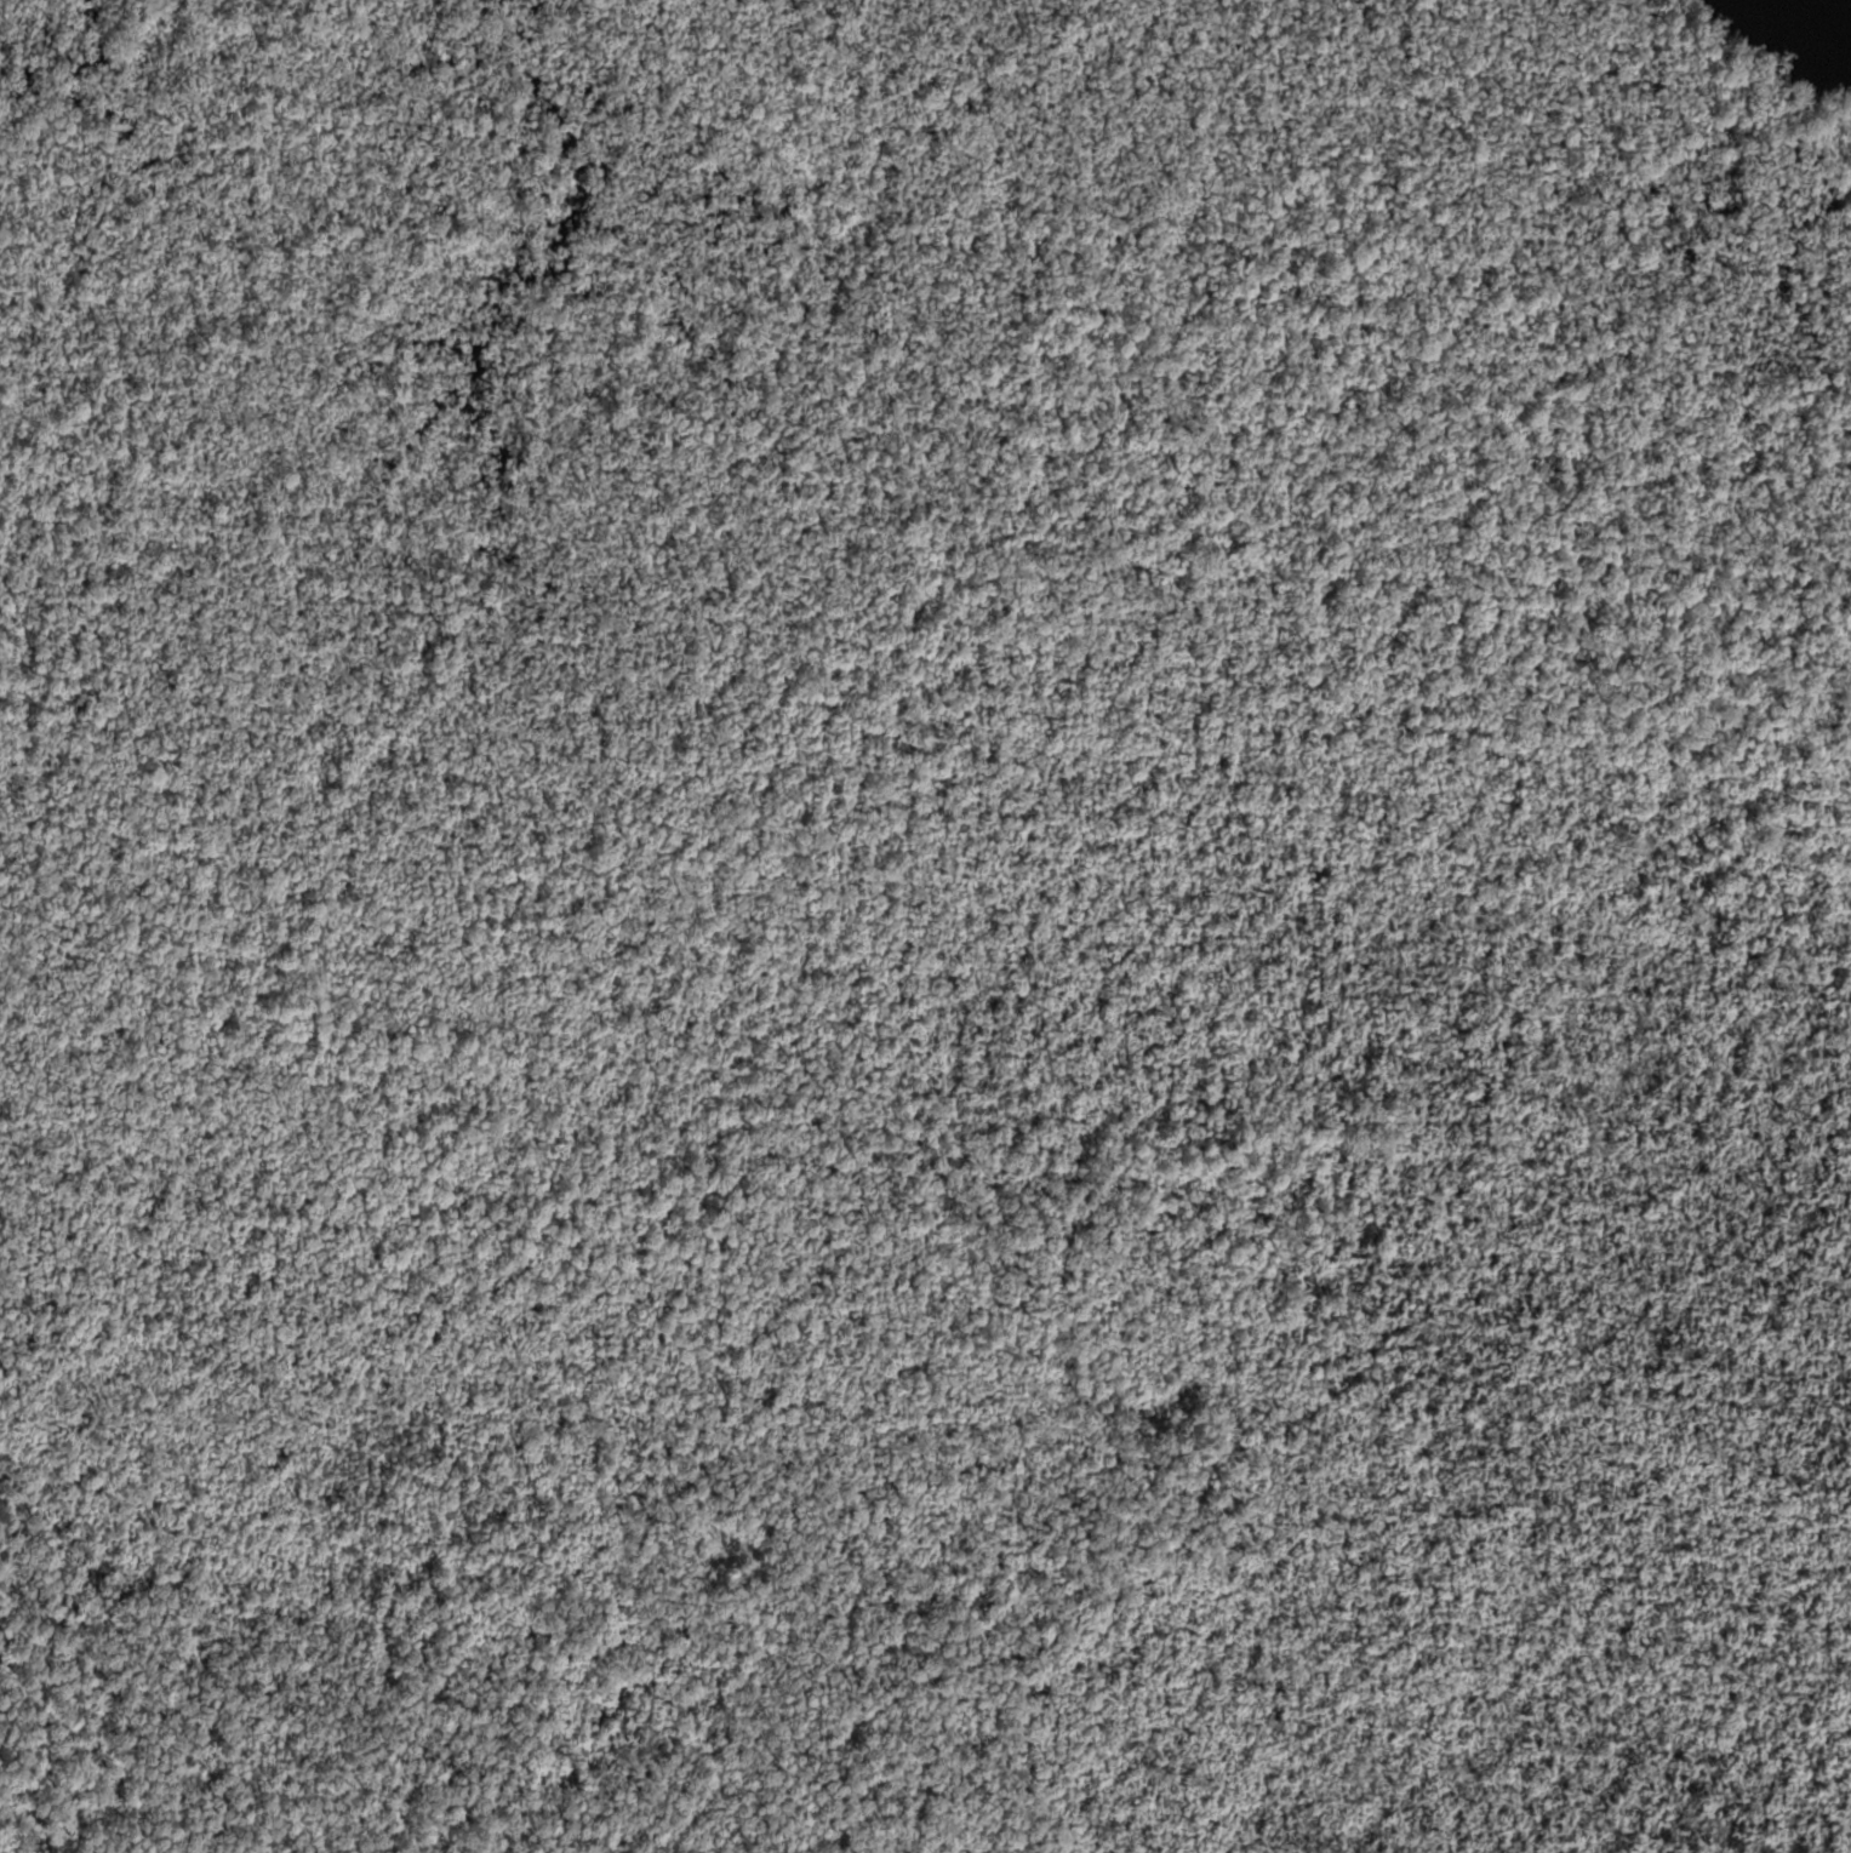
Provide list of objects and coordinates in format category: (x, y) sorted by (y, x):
road: (925, 1831)

